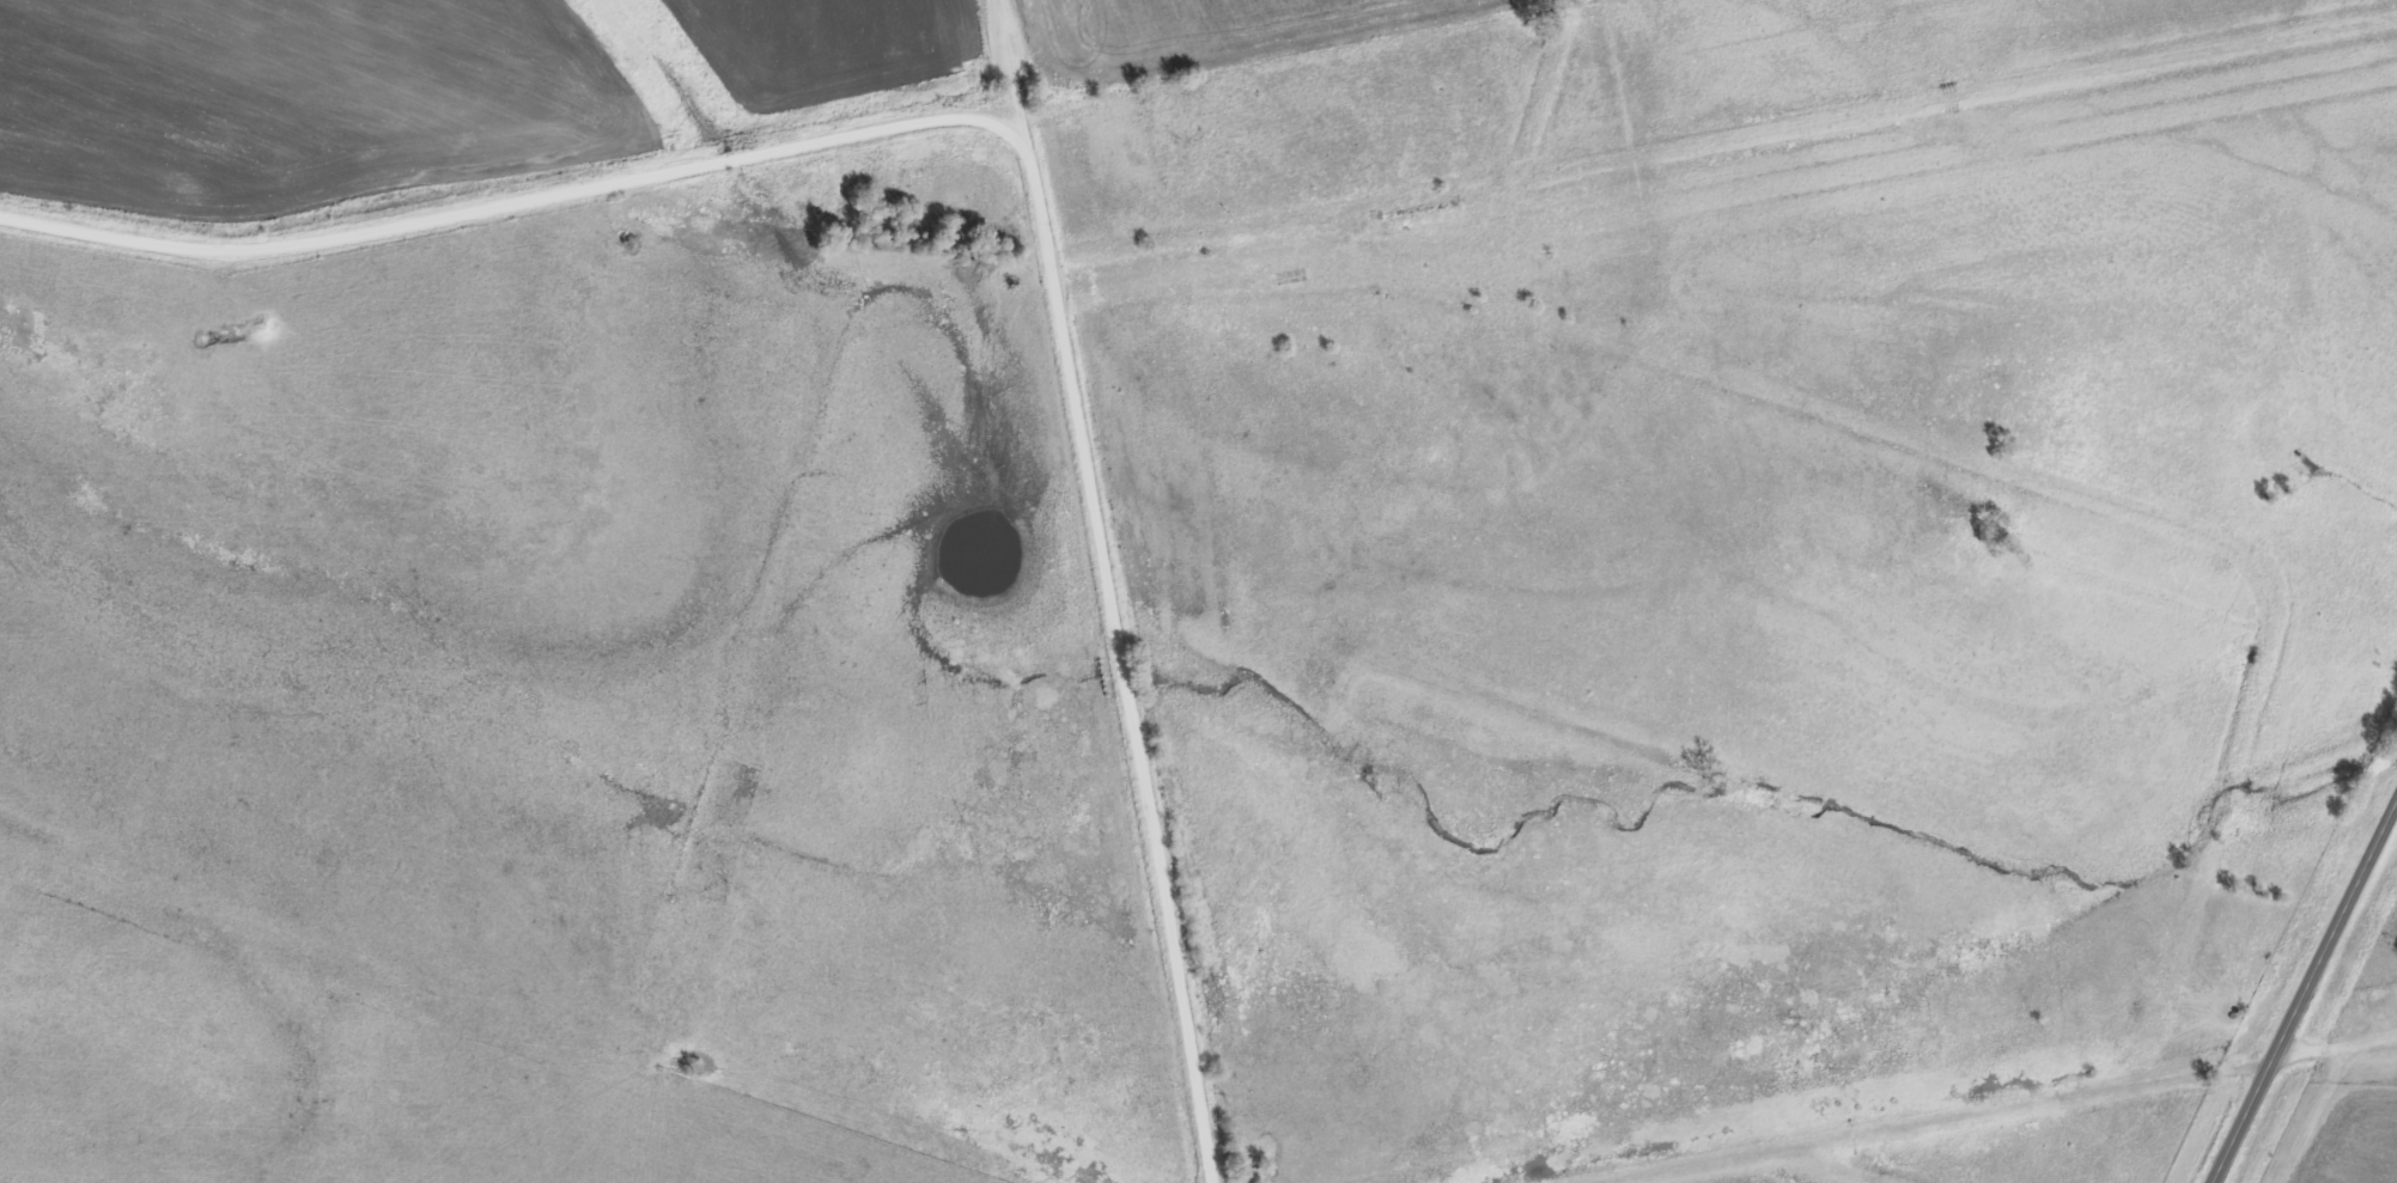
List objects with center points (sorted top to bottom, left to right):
road: (1023, 67)
railway: (1458, 195)
road: (519, 209)
road: (1124, 659)
road: (2302, 990)
road: (2380, 1047)
road: (1984, 1110)
road: (2329, 1112)

